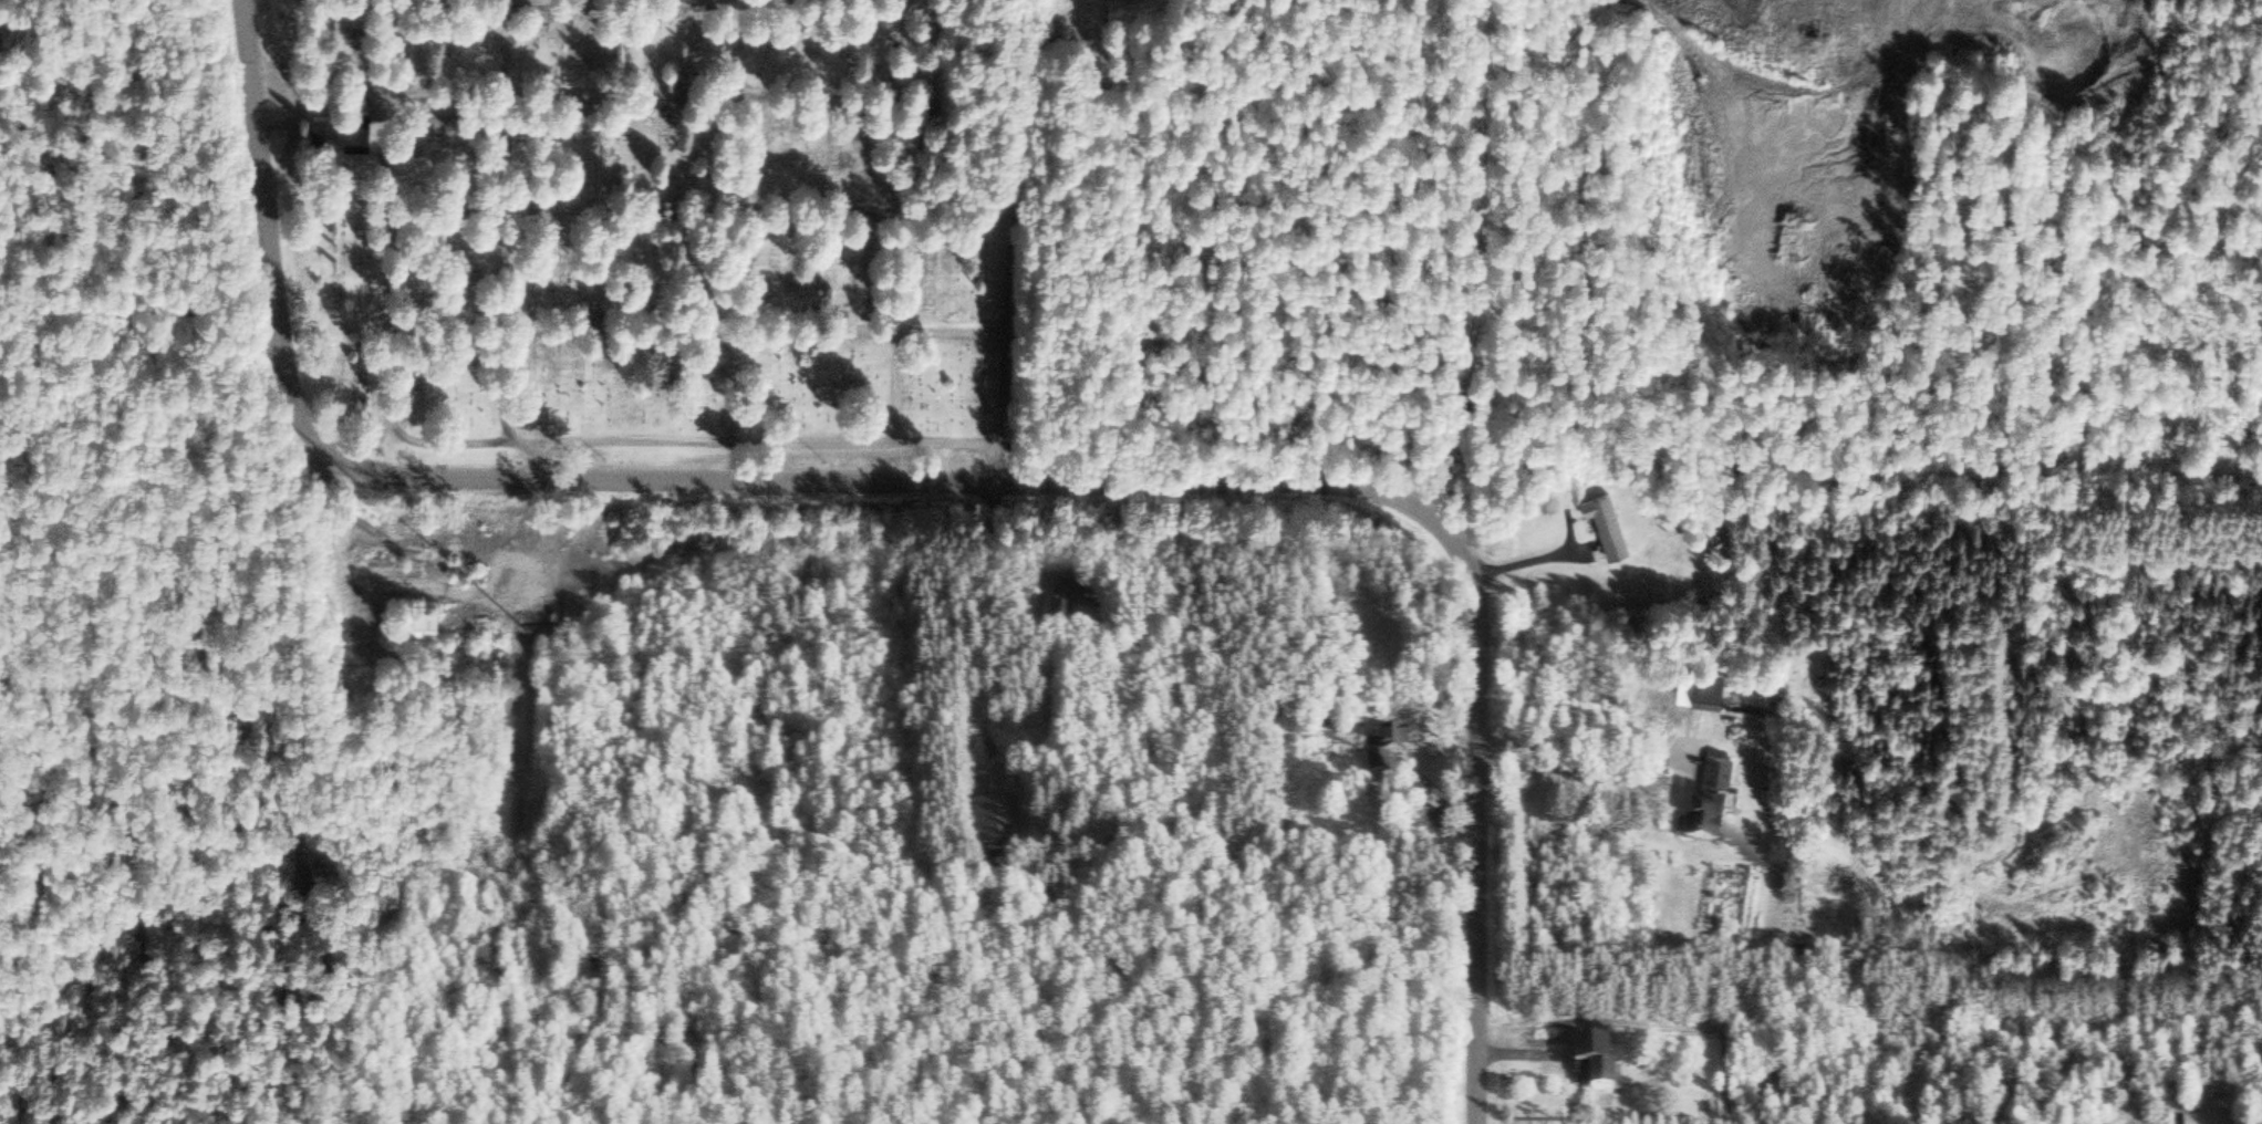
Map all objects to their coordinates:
road: (719, 4)
road: (744, 49)
road: (480, 92)
road: (824, 100)
building: (342, 129)
road: (645, 215)
road: (498, 223)
park: (675, 226)
road: (1009, 241)
road: (739, 271)
road: (1519, 271)
road: (696, 325)
road: (648, 445)
road: (946, 448)
road: (656, 480)
building: (1674, 523)
building: (1610, 525)
building: (1068, 613)
road: (206, 663)
building: (1389, 757)
building: (1718, 784)
building: (997, 823)
road: (1478, 825)
building: (1441, 826)
building: (1606, 1074)

